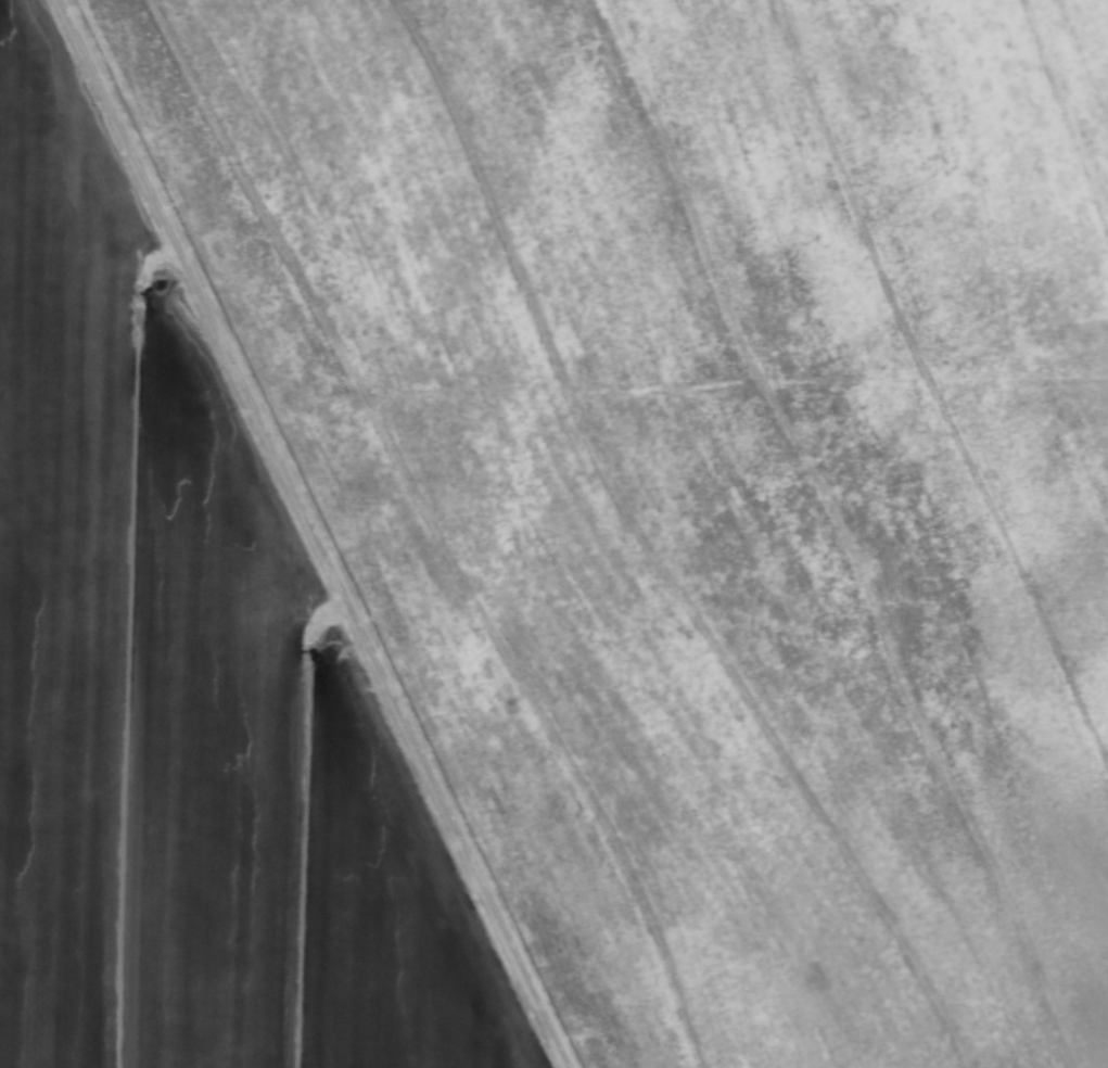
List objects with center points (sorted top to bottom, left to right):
crop: (553, 534)

